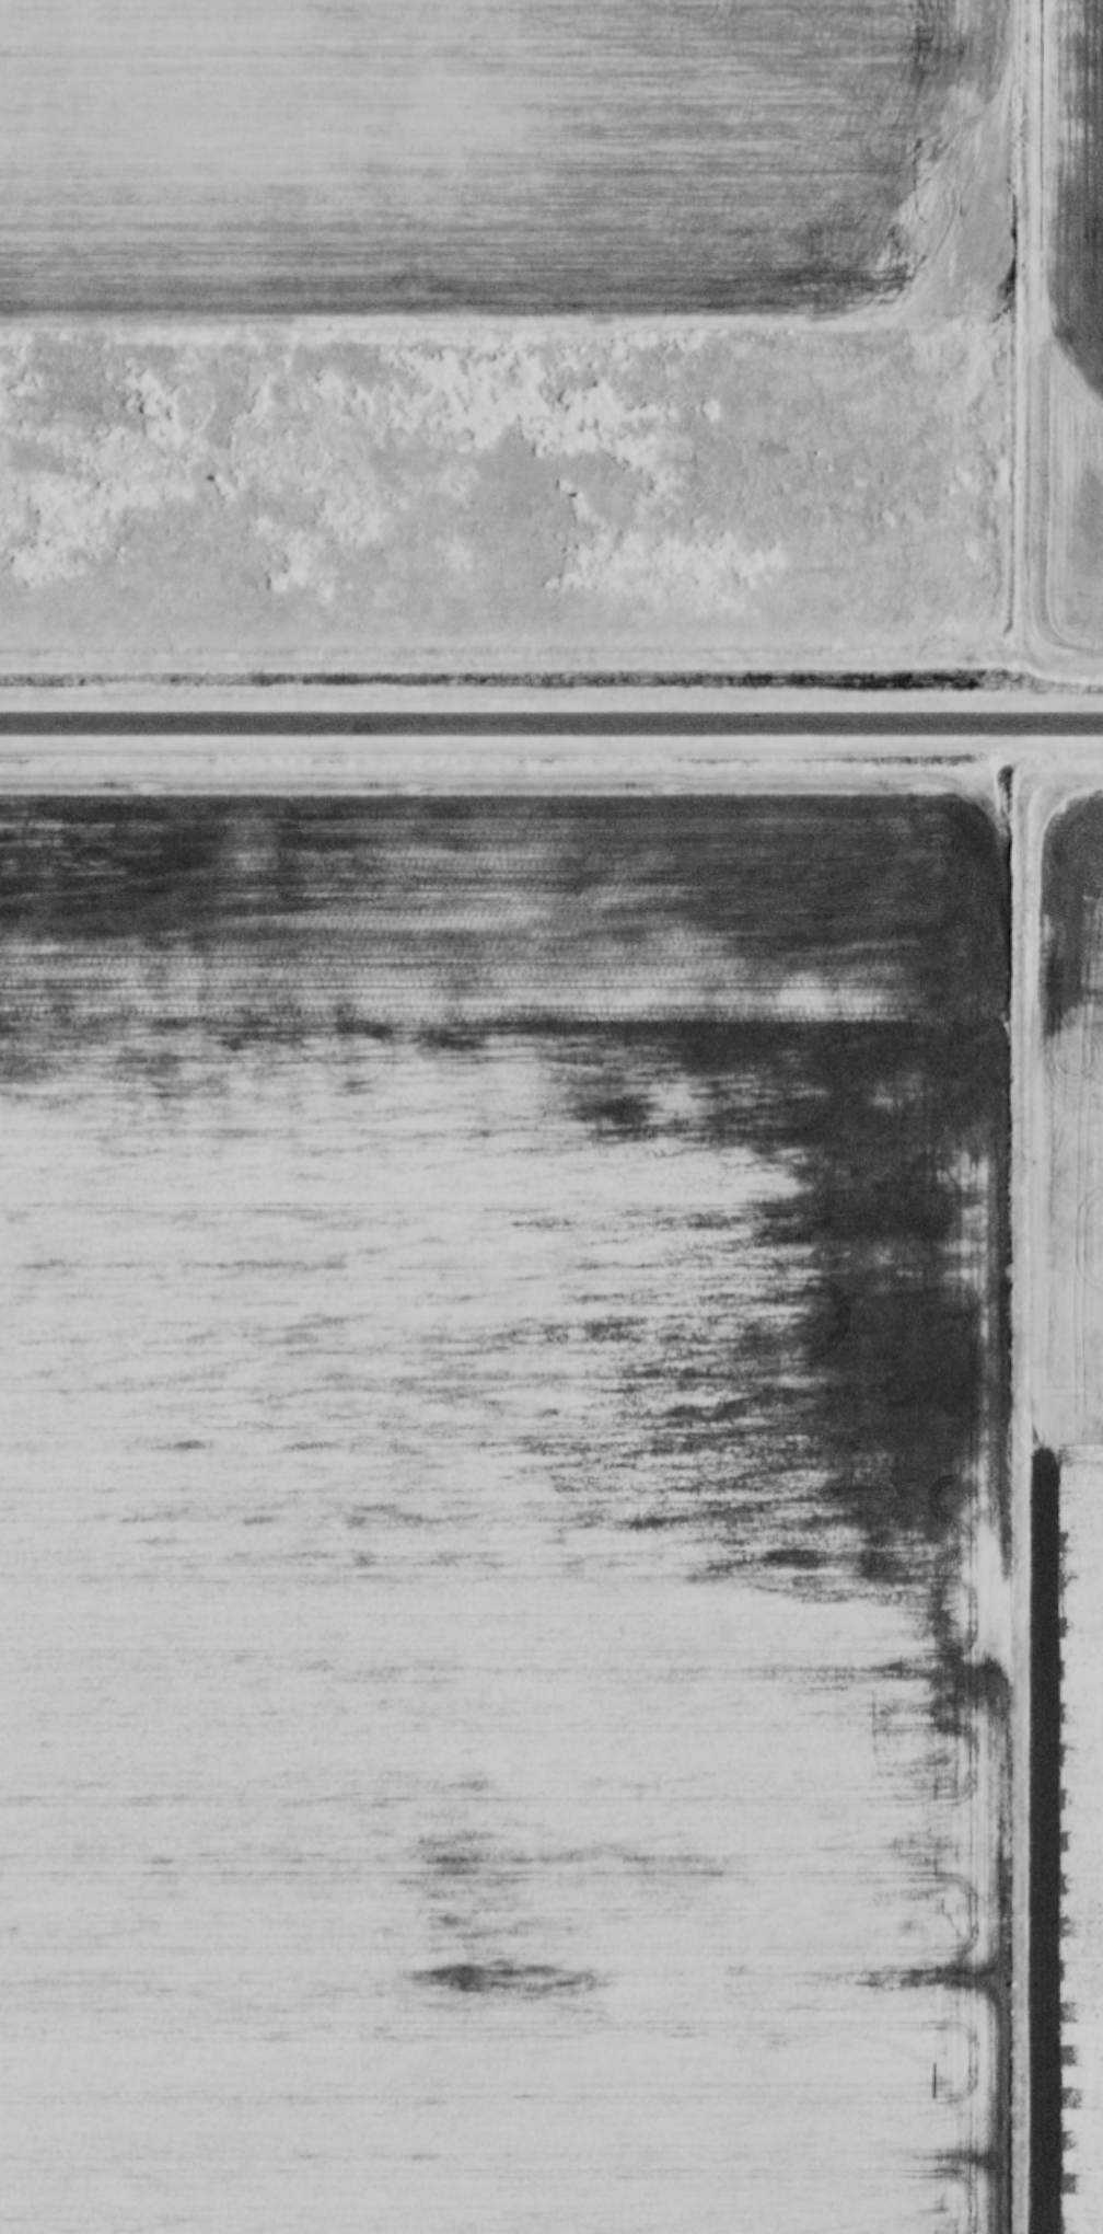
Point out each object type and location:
road: (550, 724)

